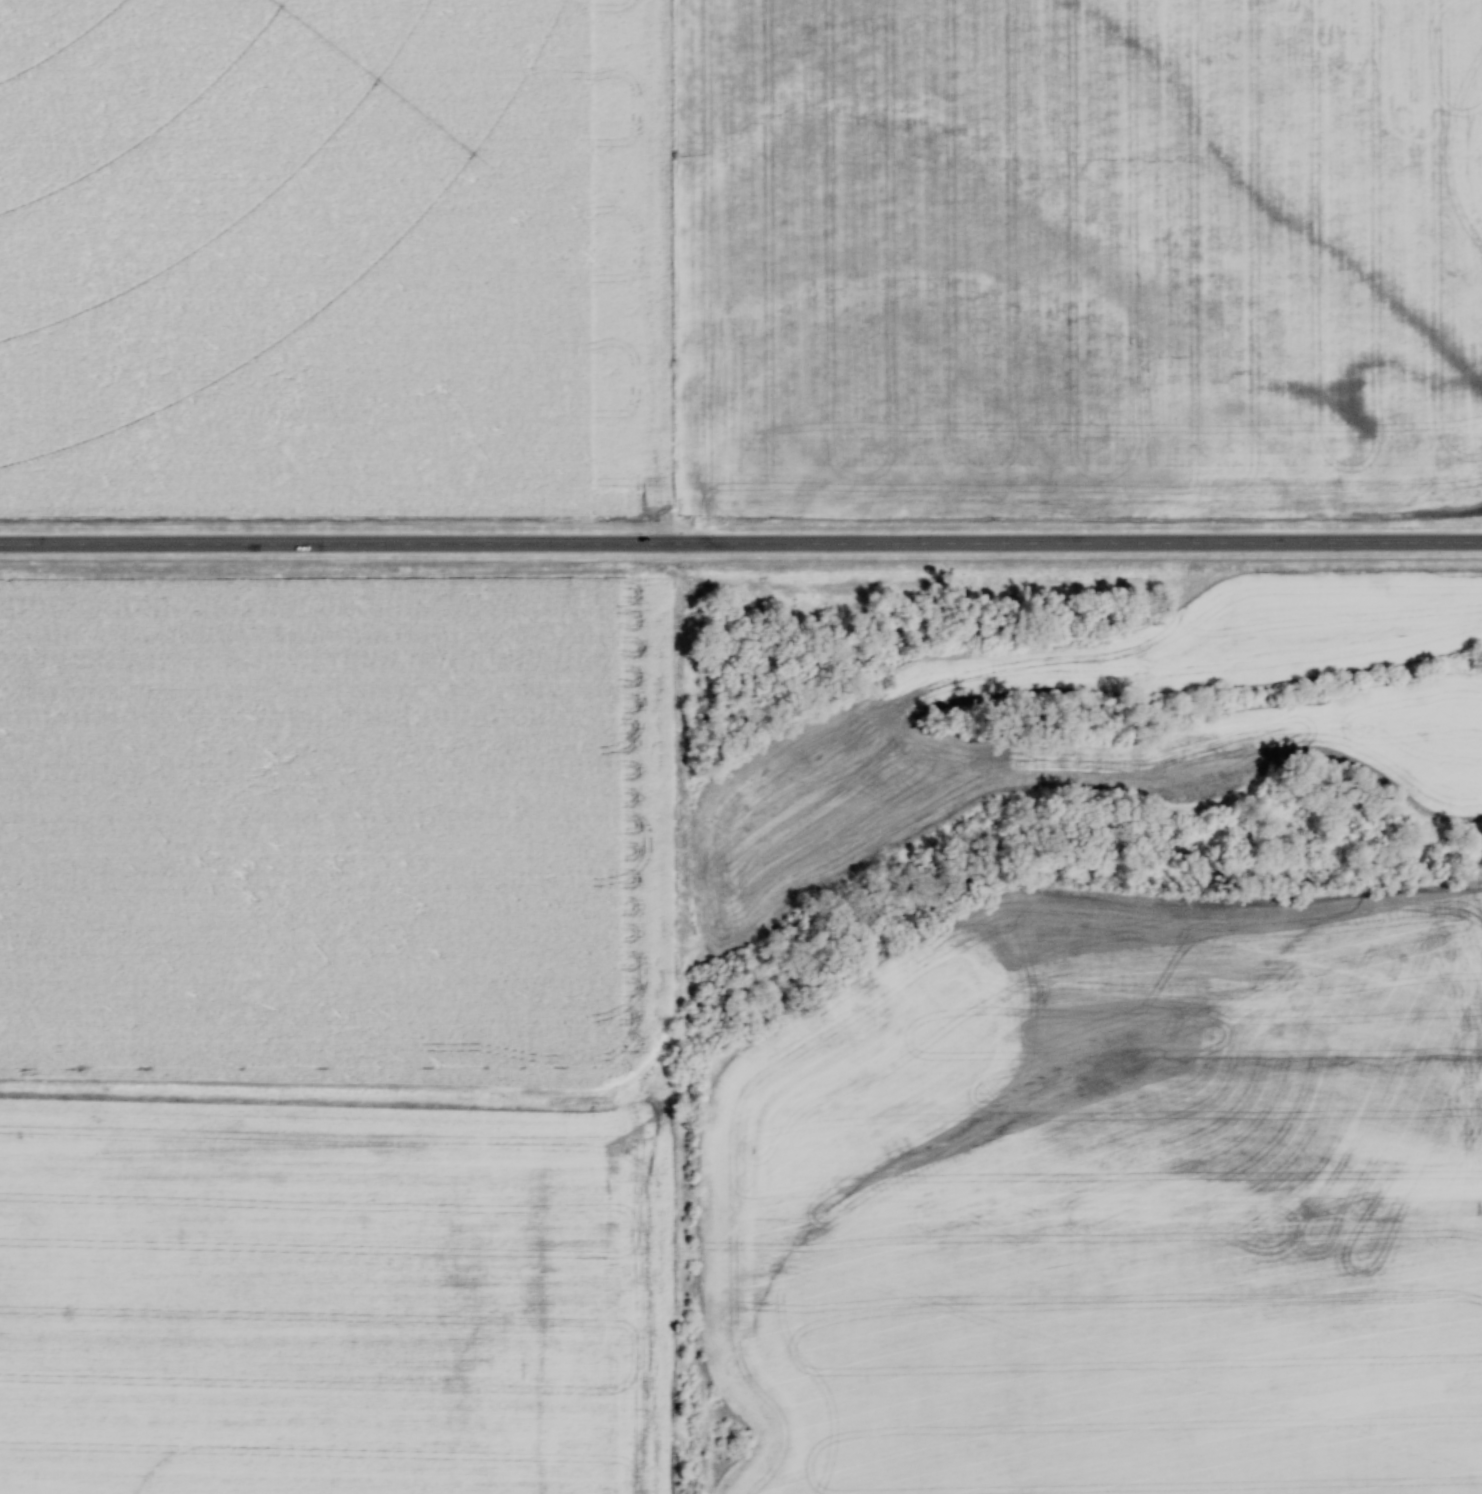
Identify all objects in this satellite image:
road: (741, 542)

